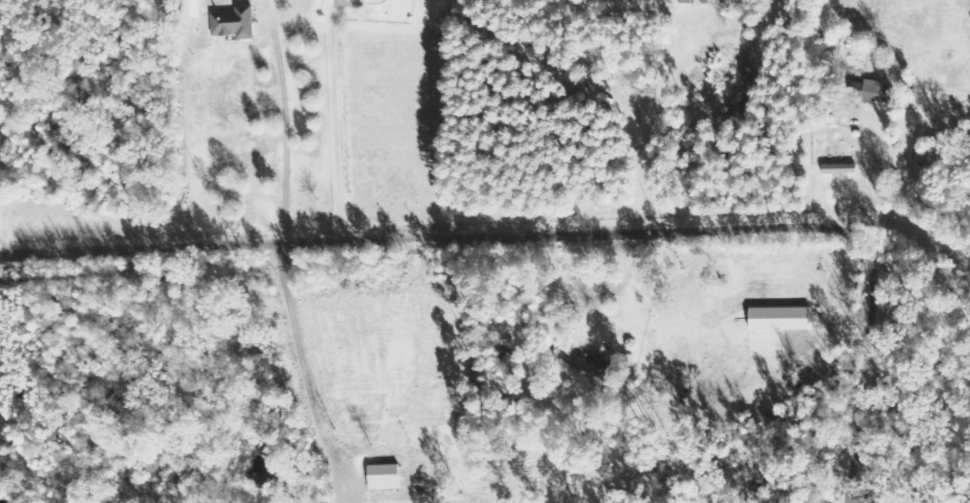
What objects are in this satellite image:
building: (231, 22)
building: (869, 90)
road: (335, 121)
road: (287, 136)
building: (837, 168)
road: (562, 233)

